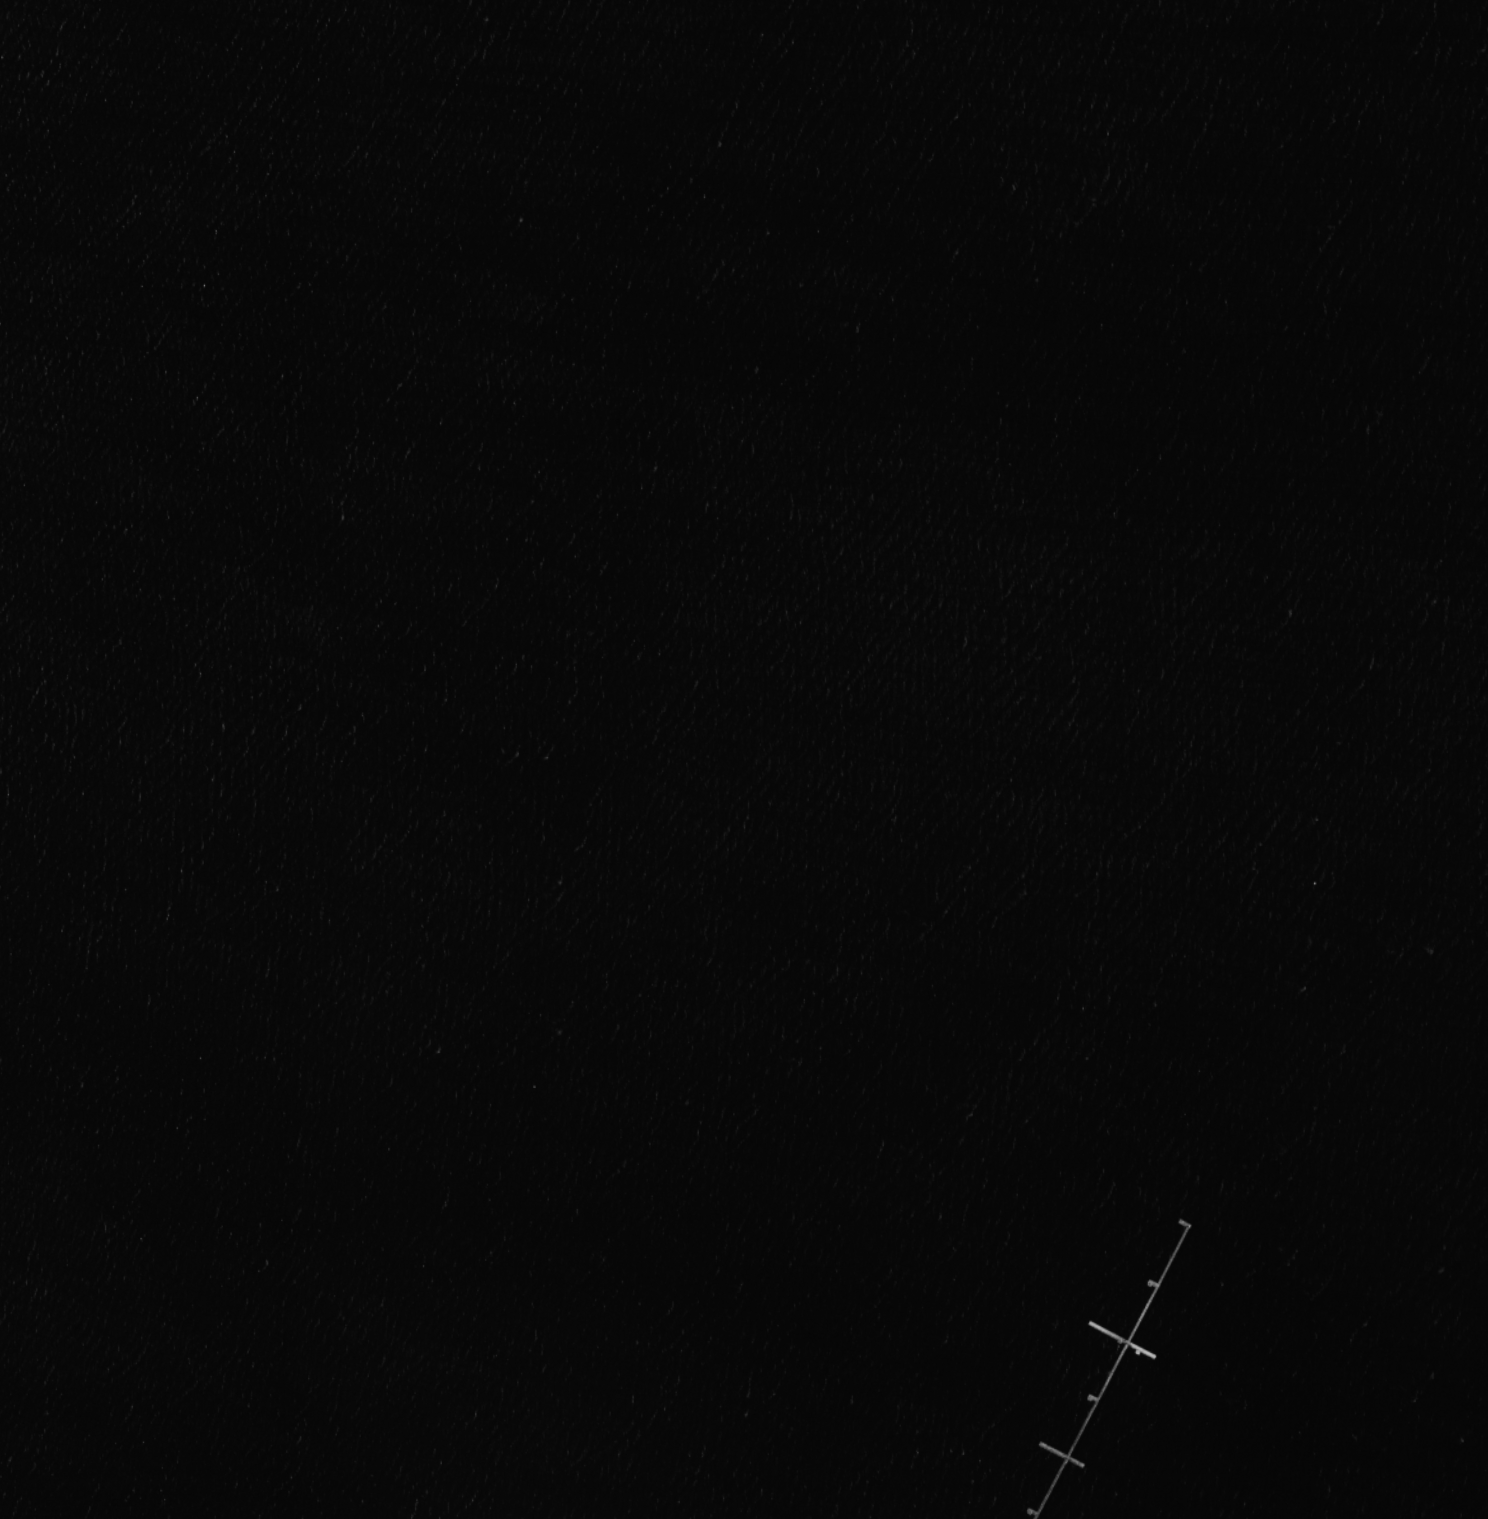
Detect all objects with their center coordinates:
pier: (1108, 1371)

